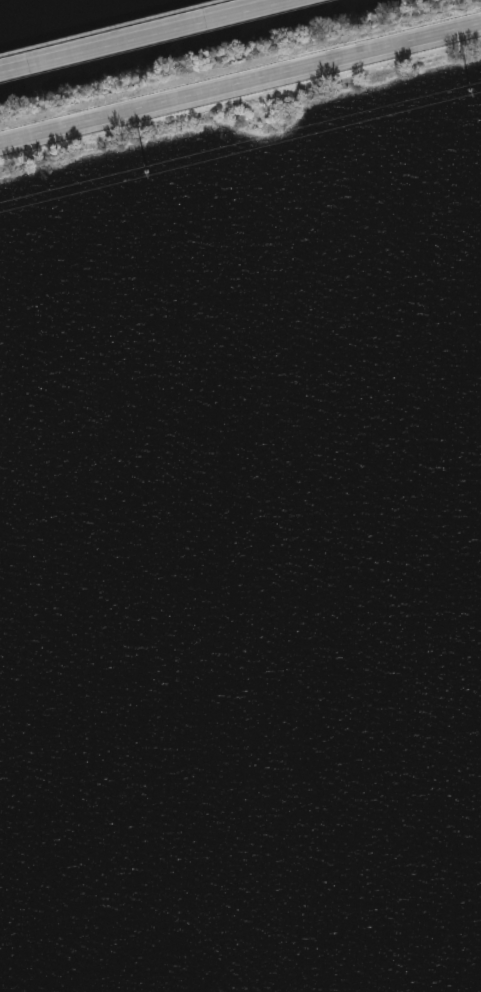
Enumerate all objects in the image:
road: (123, 30)
road: (140, 34)
road: (240, 77)
power tower: (469, 93)
power tower: (145, 173)

